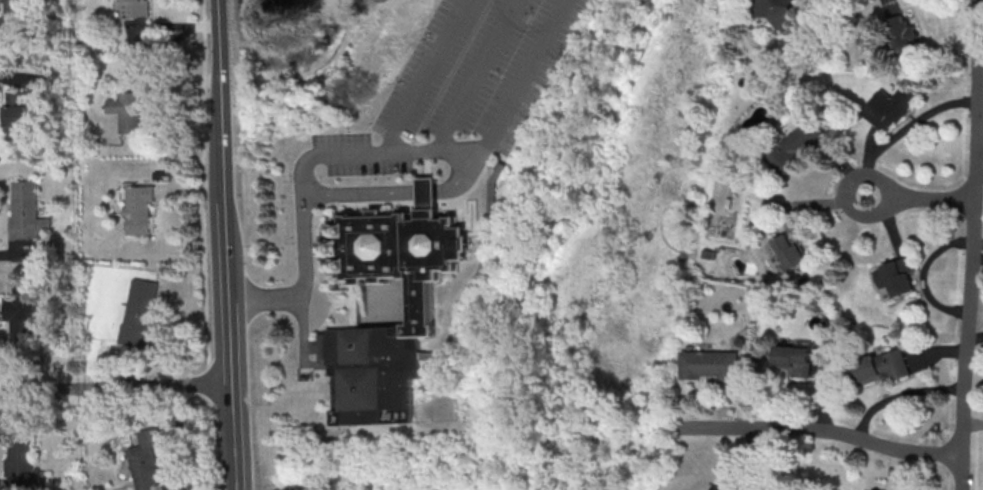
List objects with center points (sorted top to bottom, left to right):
building: (133, 8)
building: (16, 10)
building: (780, 12)
building: (905, 35)
road: (476, 75)
road: (427, 77)
parking lot: (459, 91)
building: (889, 108)
building: (131, 111)
building: (19, 112)
road: (902, 130)
building: (799, 146)
road: (370, 154)
road: (918, 197)
building: (141, 210)
building: (28, 212)
road: (204, 241)
road: (226, 245)
road: (968, 245)
building: (795, 248)
road: (975, 256)
building: (894, 278)
building: (425, 301)
building: (19, 311)
building: (140, 313)
road: (973, 336)
building: (796, 360)
building: (711, 366)
building: (880, 367)
road: (115, 388)
road: (898, 393)
road: (816, 430)
building: (147, 460)
building: (20, 462)

